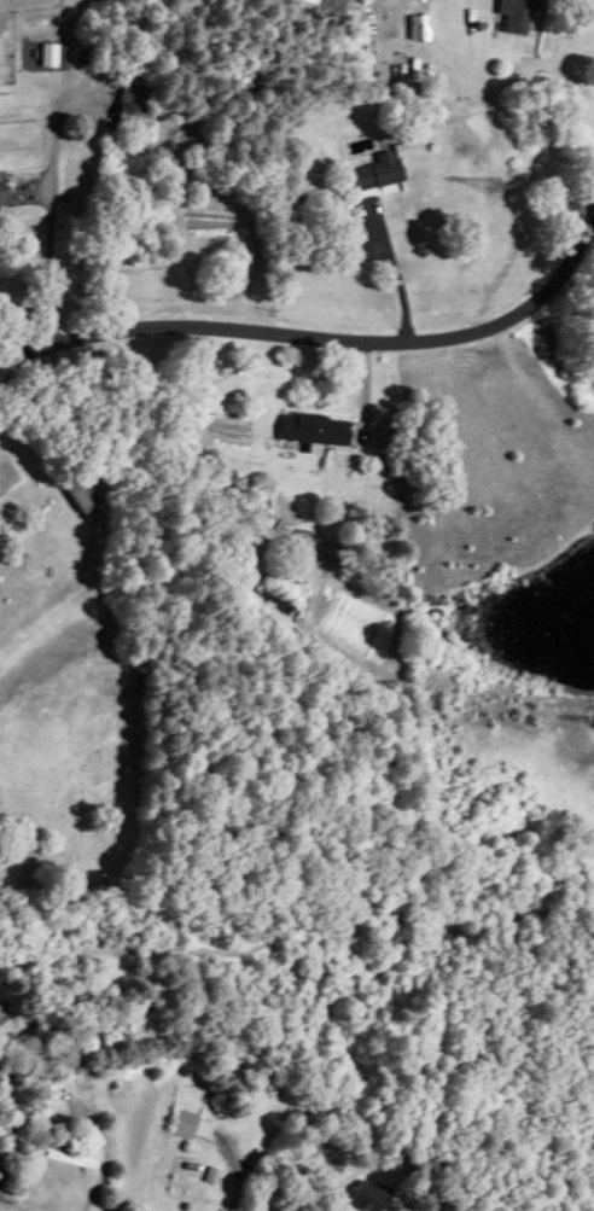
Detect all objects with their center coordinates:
building: (518, 17)
building: (36, 47)
building: (524, 83)
building: (133, 111)
building: (379, 173)
power tower: (488, 176)
building: (11, 198)
road: (49, 260)
road: (394, 272)
road: (321, 333)
building: (315, 432)
road: (1, 467)
building: (83, 499)
building: (275, 606)
building: (5, 1125)
building: (193, 1126)
building: (70, 1159)
road: (234, 1178)
building: (368, 1197)

